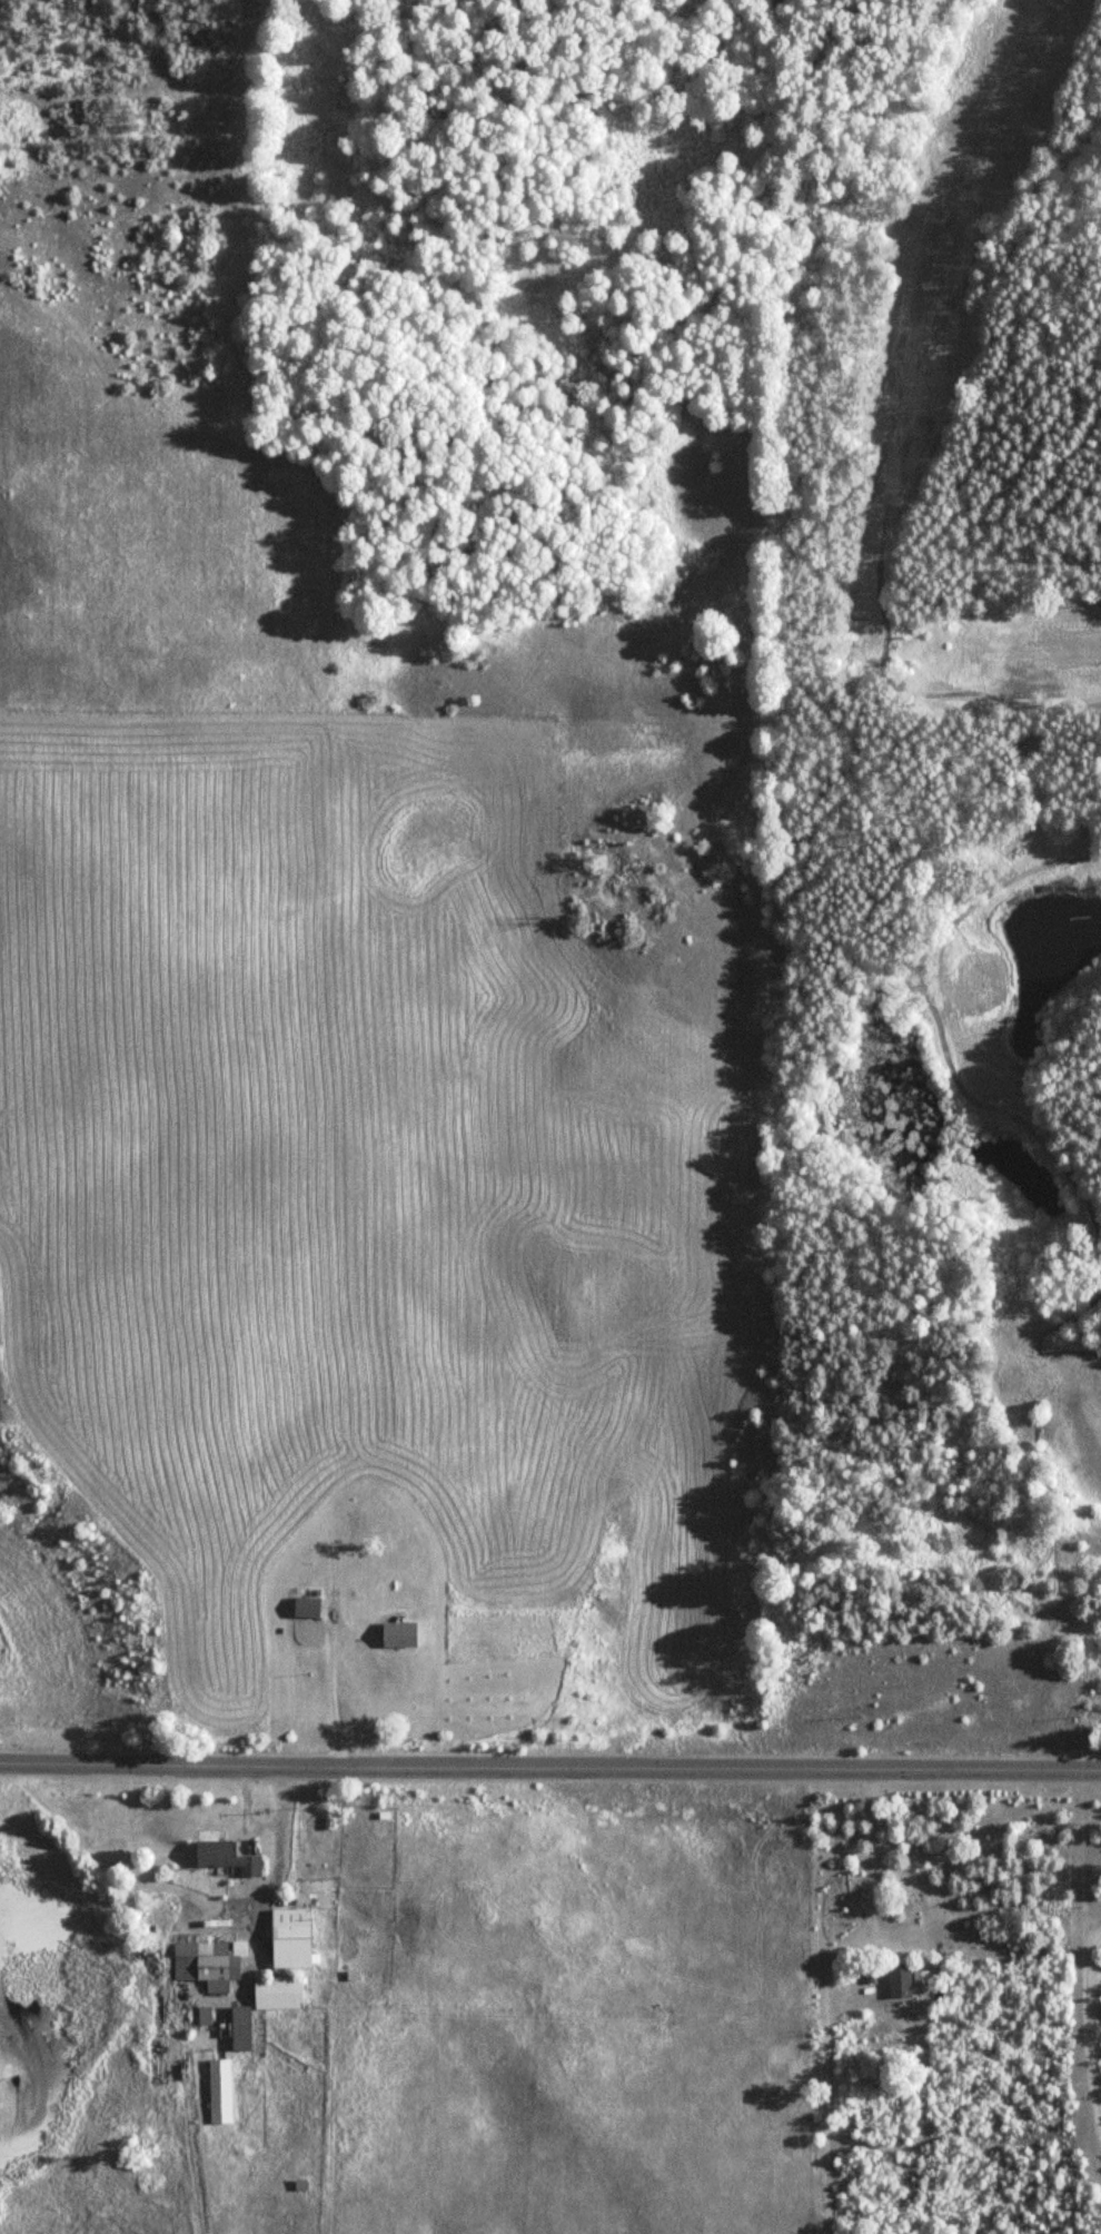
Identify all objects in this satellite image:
park: (961, 830)
building: (365, 1528)
building: (307, 1607)
building: (399, 1633)
building: (350, 1681)
road: (550, 1762)
building: (227, 1856)
building: (291, 1938)
building: (209, 1961)
building: (900, 1981)
building: (279, 1991)
building: (241, 2027)
building: (220, 2089)

